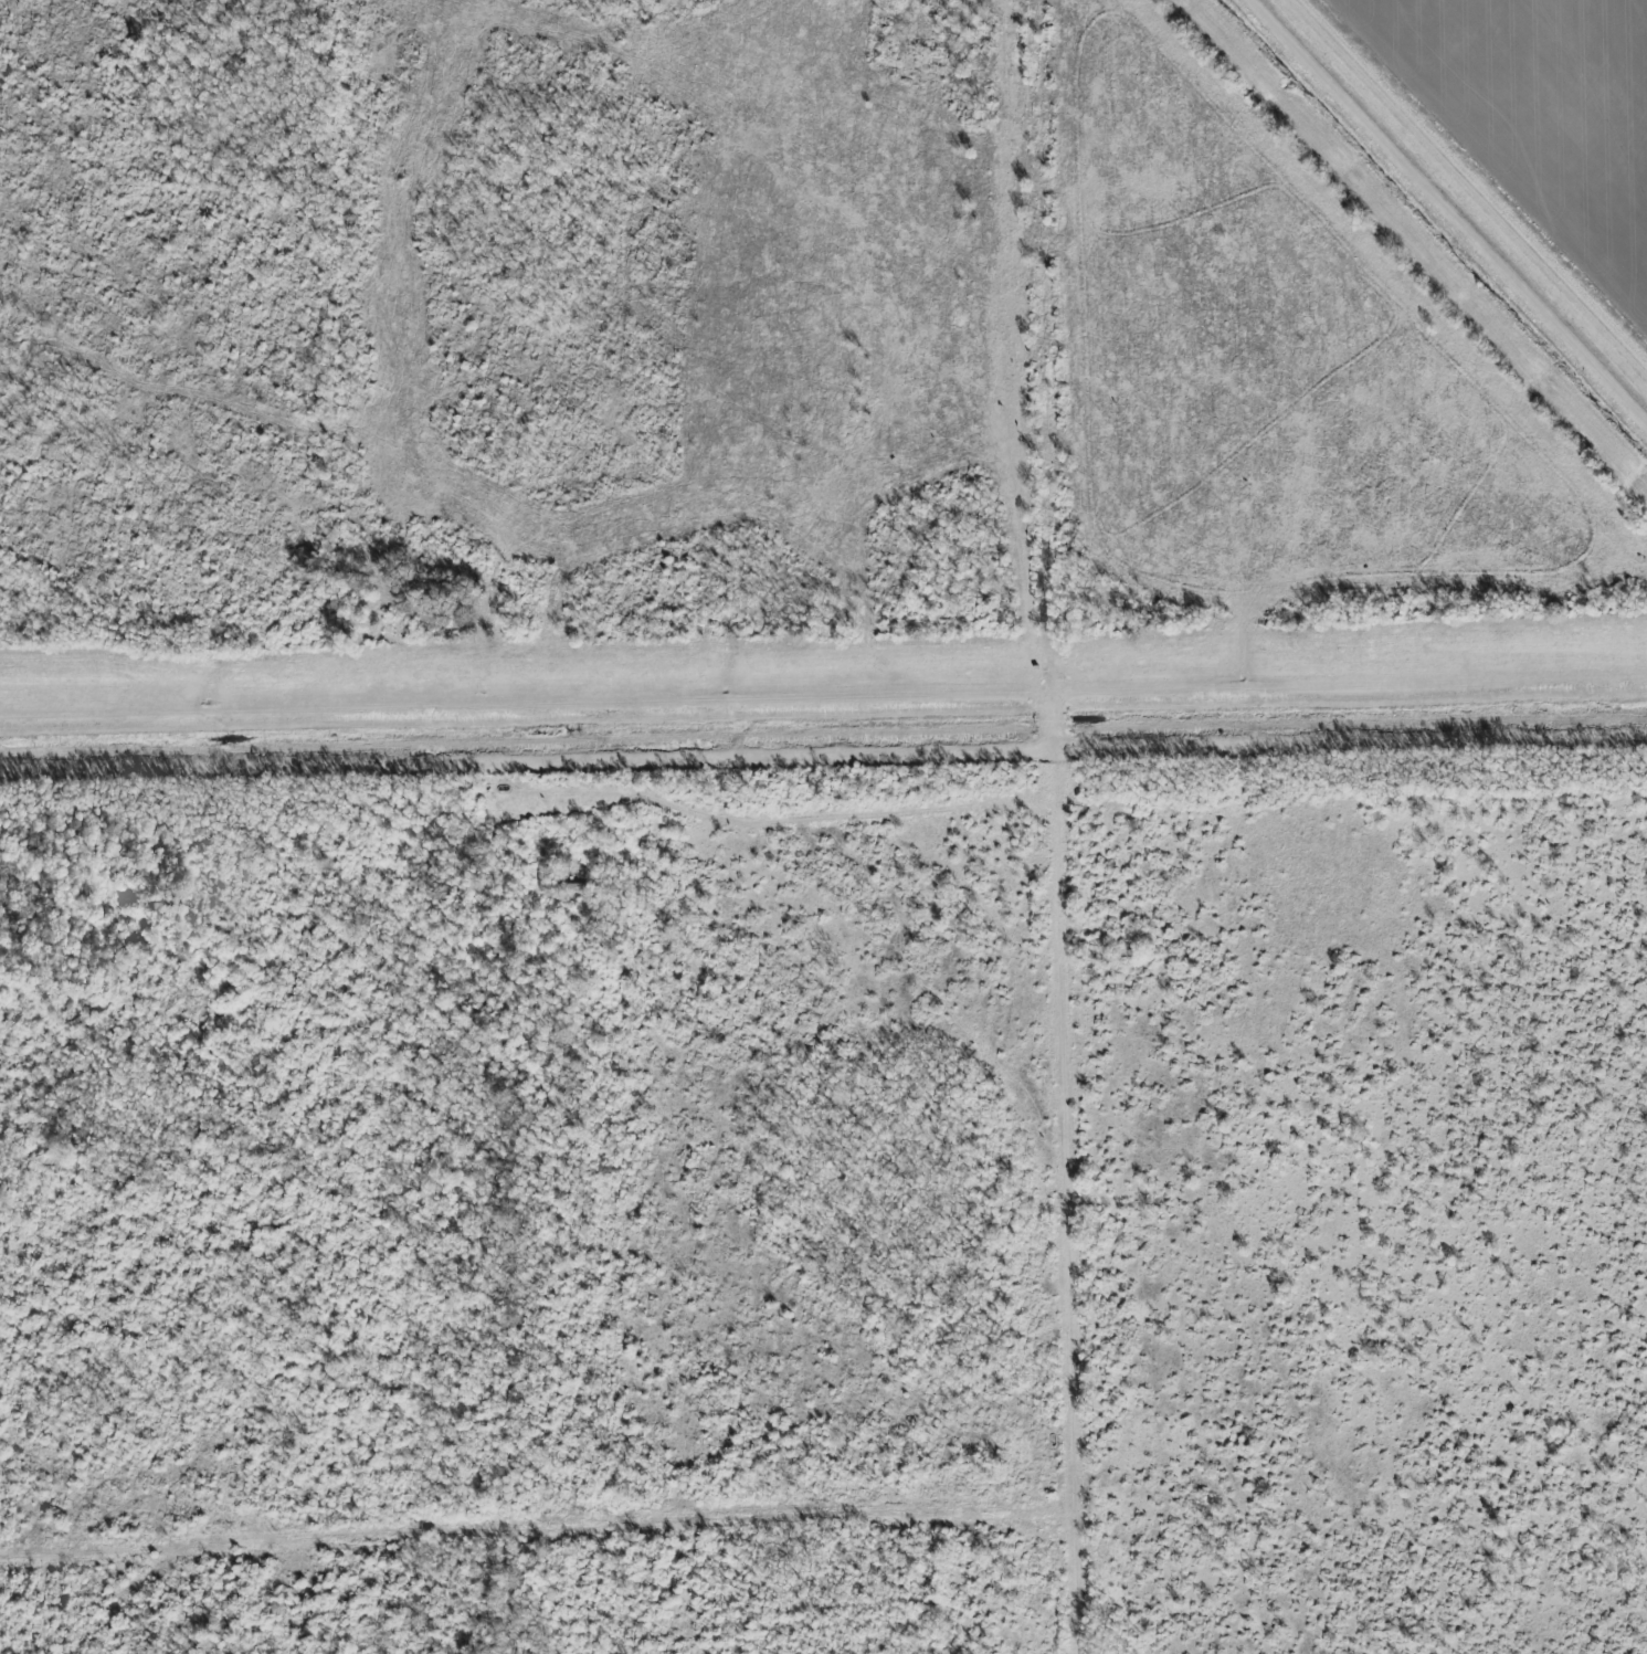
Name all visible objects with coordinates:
road: (1475, 182)
road: (1353, 691)
road: (875, 693)
road: (1071, 1172)

